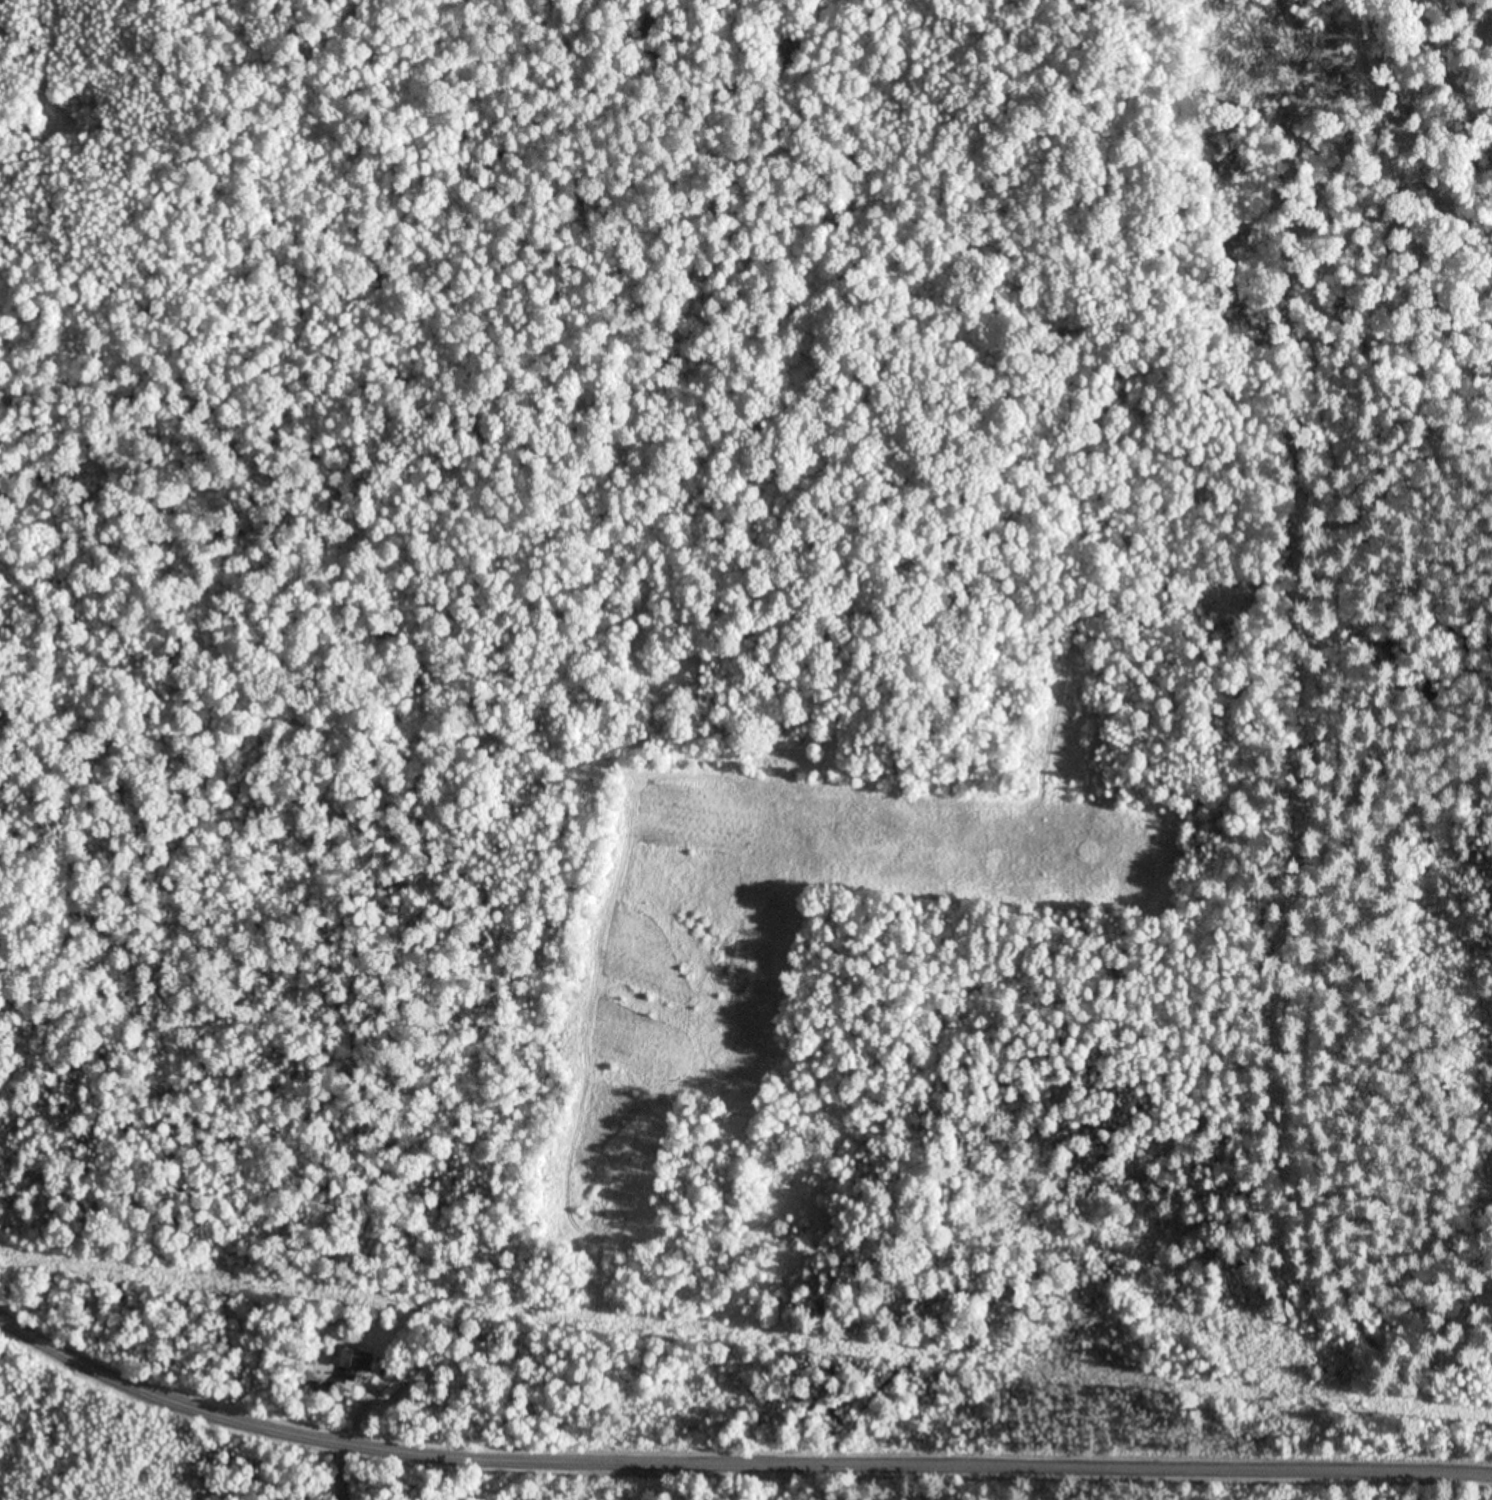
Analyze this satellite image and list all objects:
building: (582, 787)
building: (347, 1364)
road: (730, 1465)

